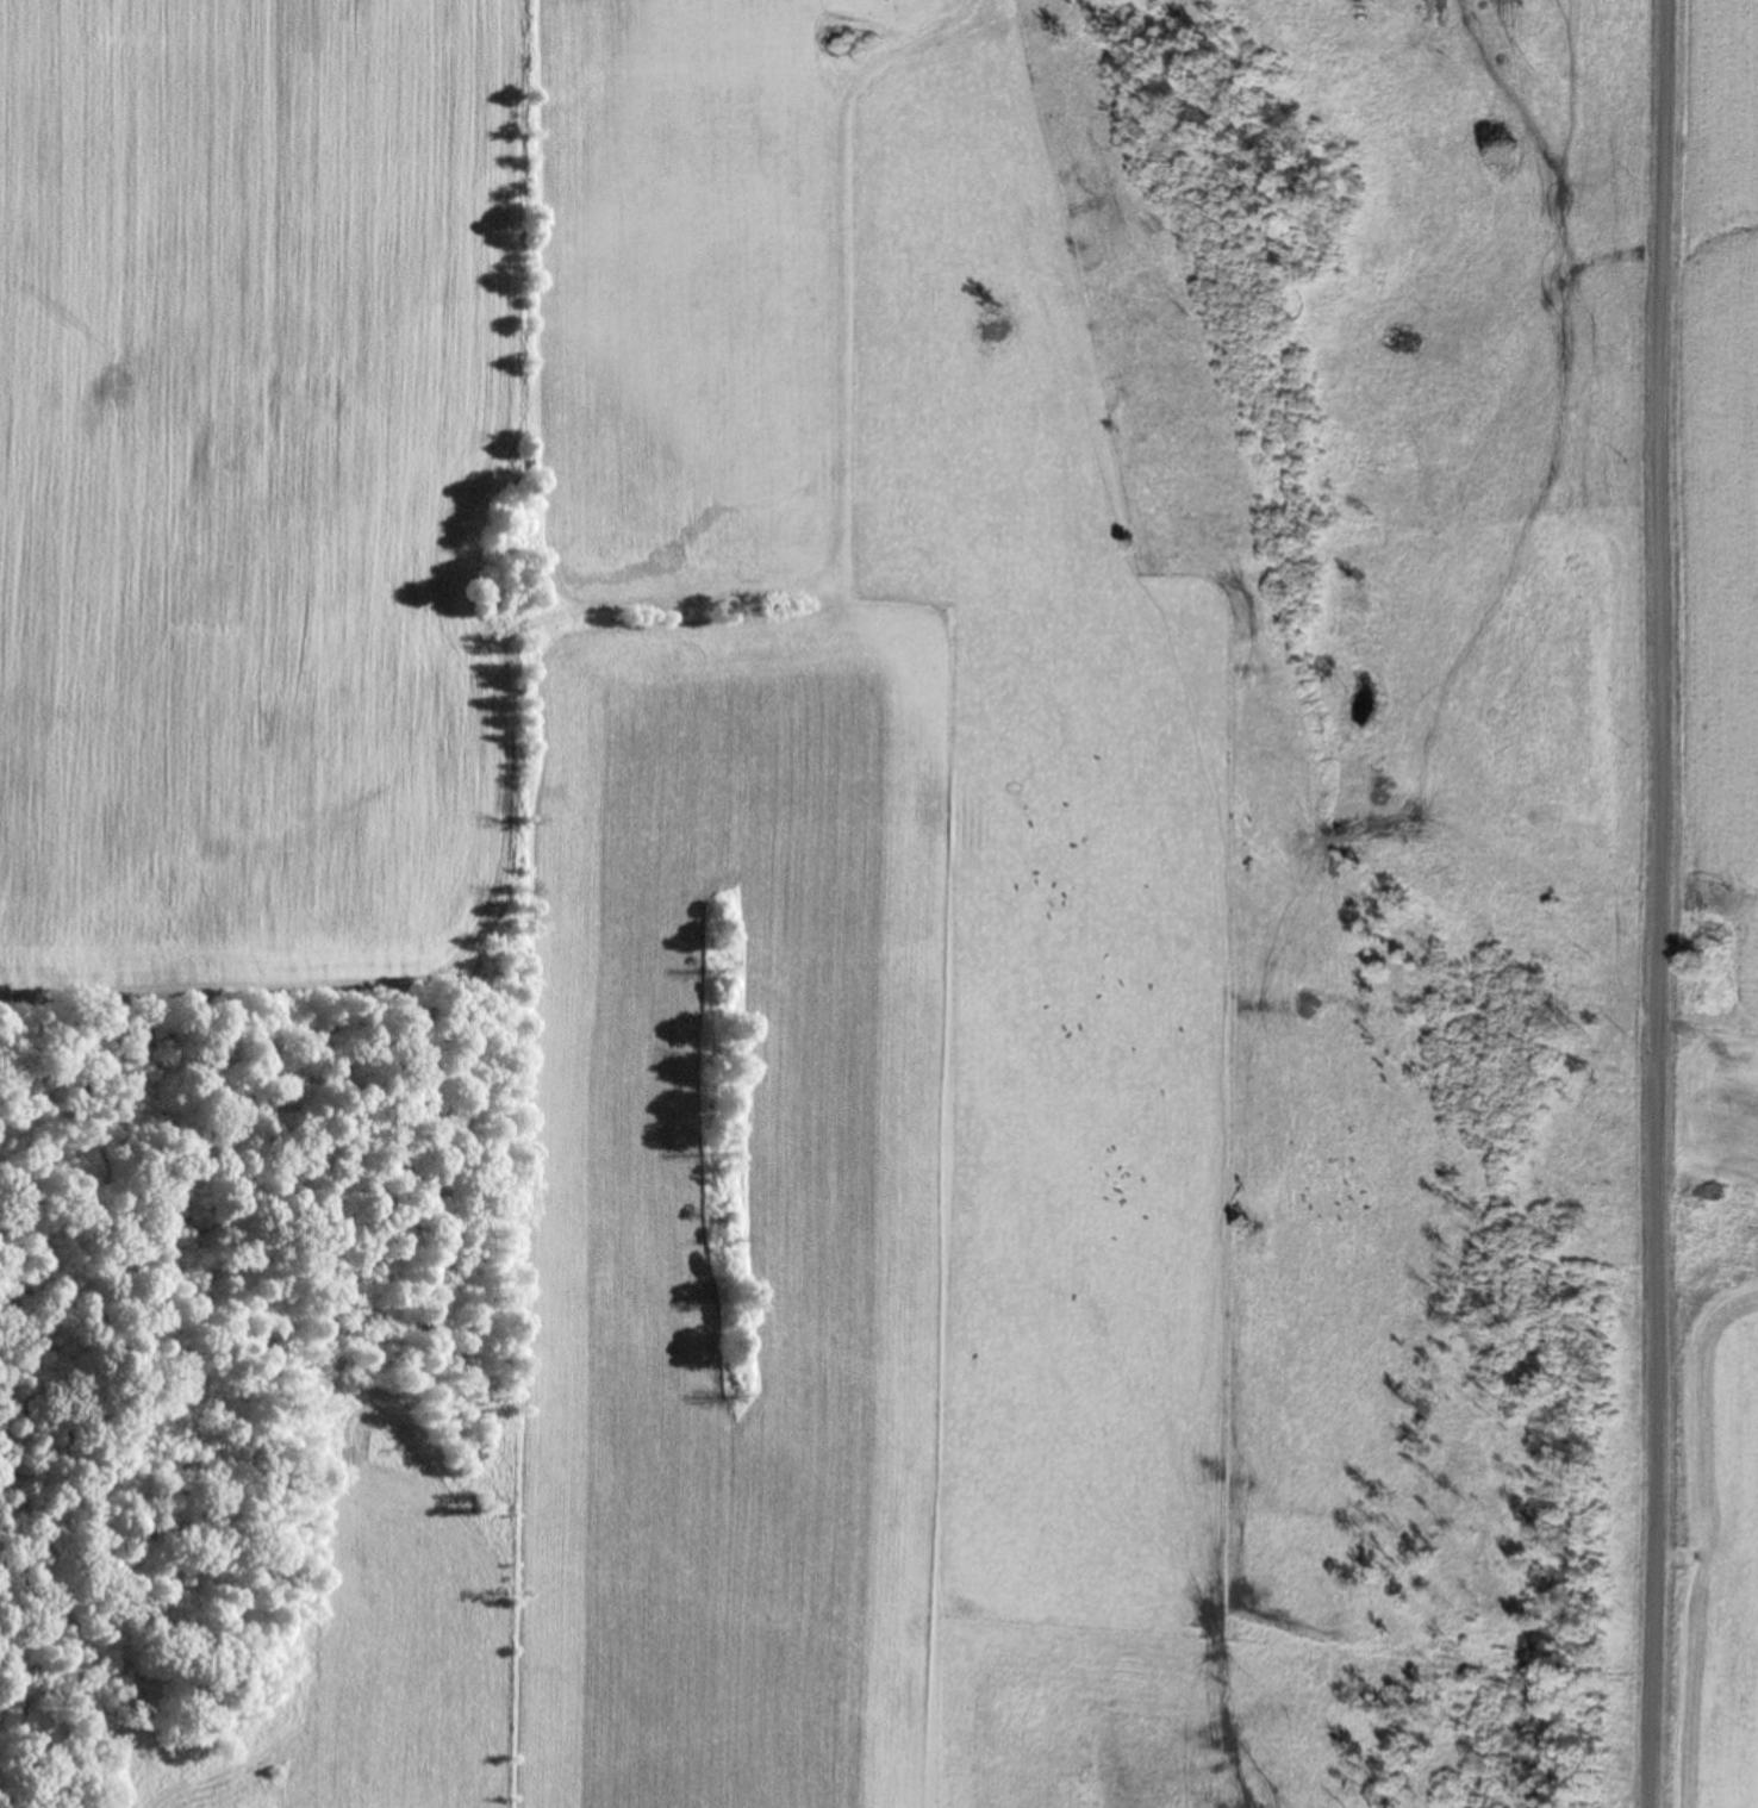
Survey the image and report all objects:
road: (1665, 904)

